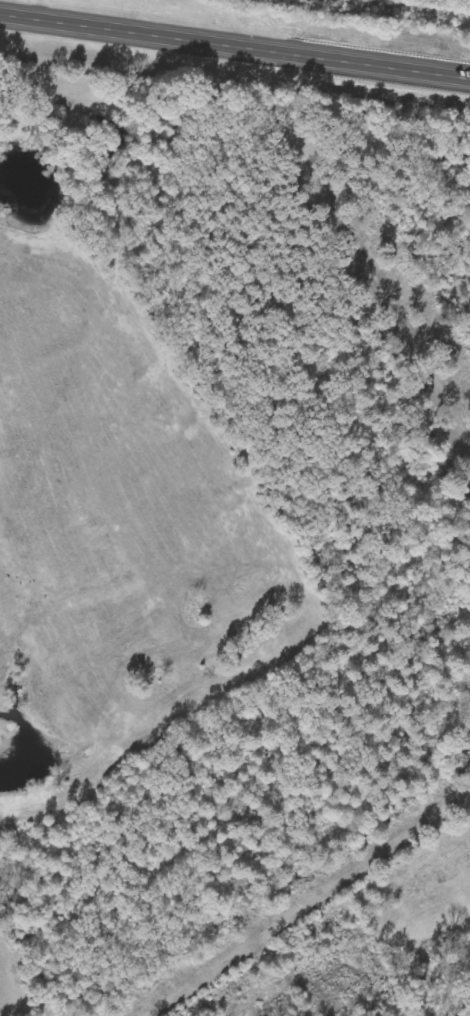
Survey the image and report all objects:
road: (235, 49)

